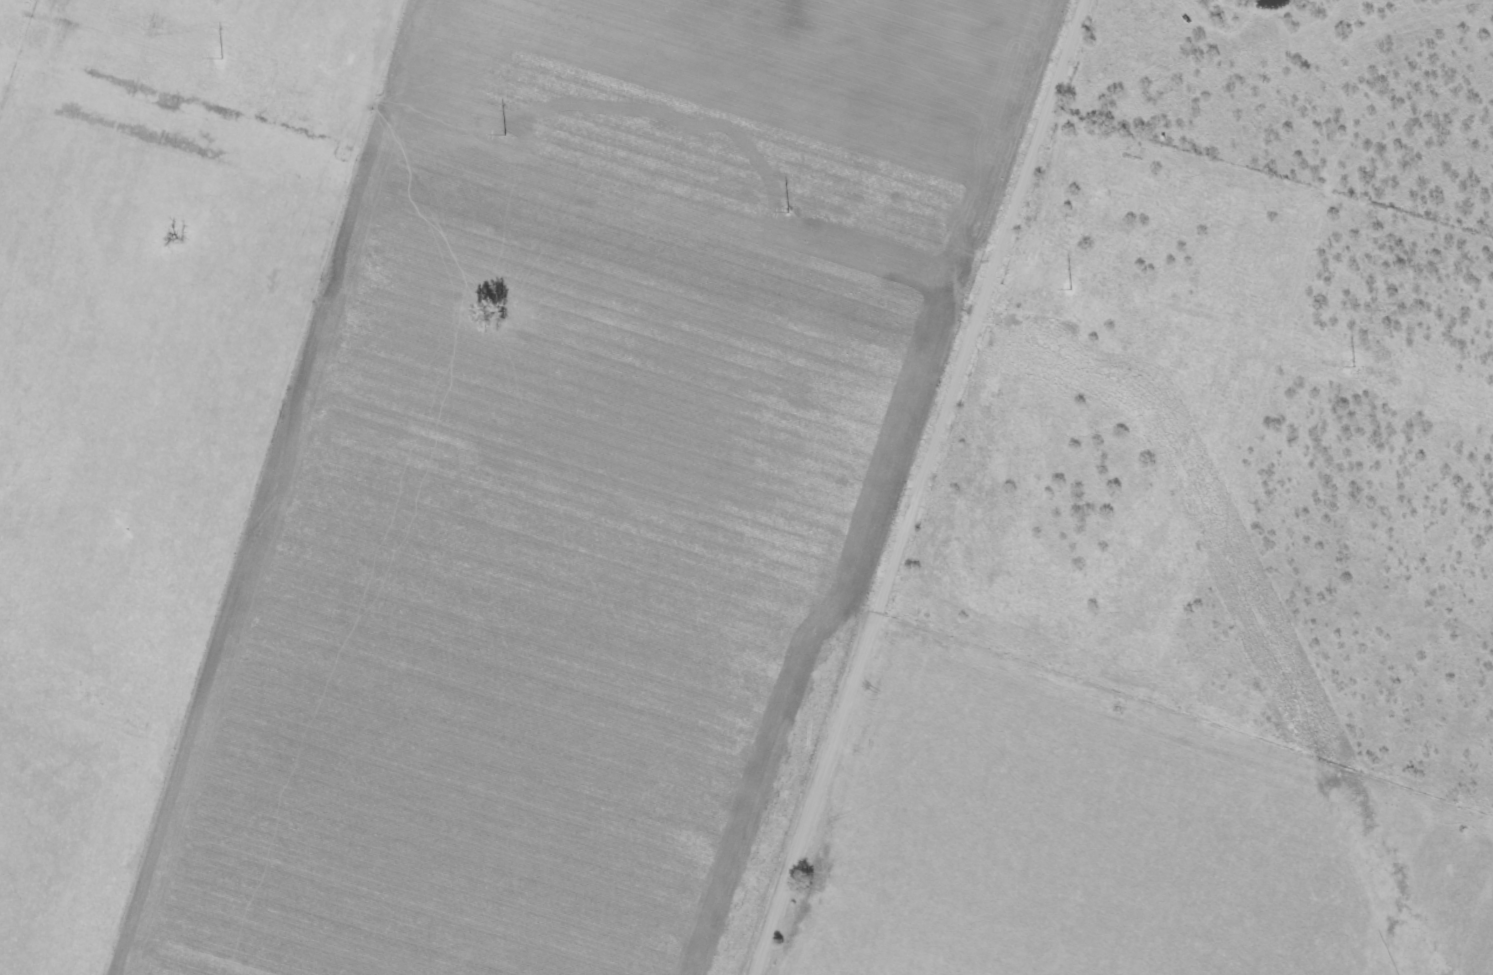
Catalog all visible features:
power tower: (224, 59)
power tower: (503, 137)
power tower: (787, 214)
power tower: (1070, 291)
power tower: (1354, 368)
road: (935, 487)

